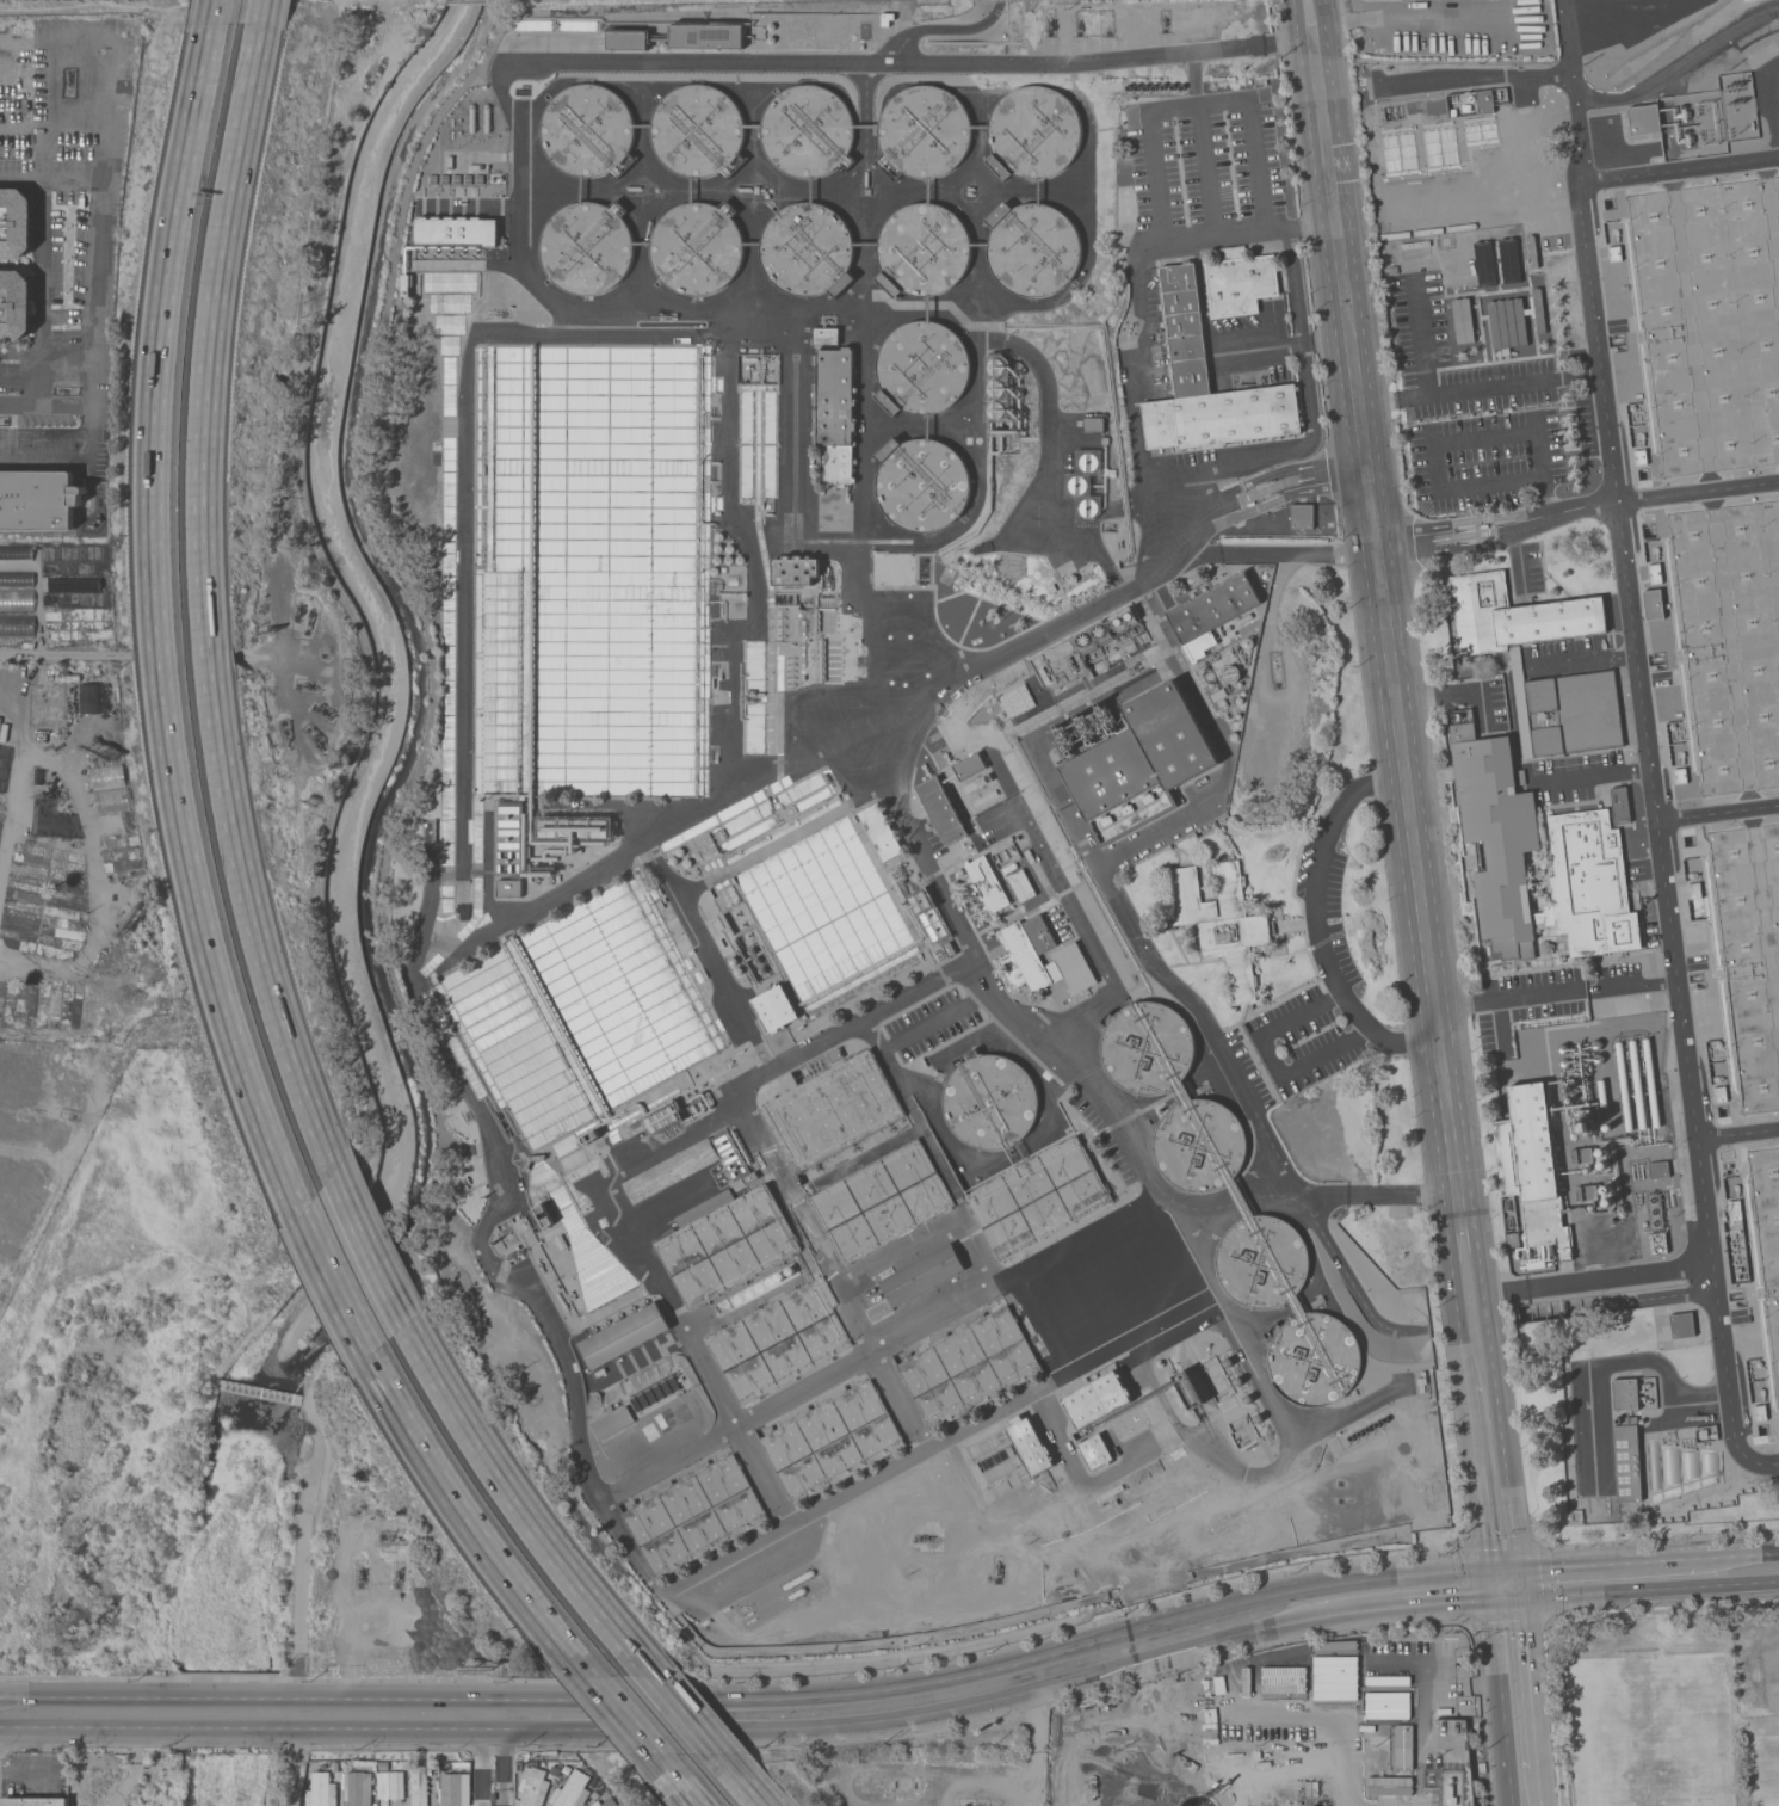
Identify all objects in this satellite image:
road: (215, 12)
road: (264, 12)
road: (941, 27)
road: (48, 36)
building: (706, 36)
railway: (1668, 36)
building: (626, 41)
railway: (1675, 45)
road: (1678, 66)
road: (1476, 70)
building: (1484, 101)
road: (509, 113)
building: (1644, 118)
building: (587, 130)
building: (697, 130)
building: (807, 130)
building: (924, 131)
building: (1032, 132)
road: (1679, 169)
road: (49, 181)
building: (14, 223)
road: (1311, 224)
building: (456, 230)
building: (586, 247)
building: (1032, 248)
building: (697, 249)
building: (807, 249)
building: (922, 251)
building: (1614, 253)
building: (1509, 260)
road: (1289, 263)
building: (1484, 263)
road: (41, 269)
building: (1238, 281)
building: (406, 283)
building: (14, 304)
road: (95, 316)
building: (1463, 319)
building: (1514, 320)
road: (1327, 340)
road: (20, 353)
building: (995, 366)
building: (921, 368)
building: (1207, 383)
building: (995, 387)
road: (1481, 387)
building: (995, 408)
building: (834, 414)
building: (1093, 424)
road: (91, 433)
road: (1457, 442)
building: (1639, 457)
building: (1088, 462)
building: (921, 483)
building: (1077, 483)
building: (37, 500)
building: (1088, 506)
building: (1302, 516)
building: (16, 551)
road: (1518, 555)
building: (793, 571)
building: (1654, 573)
building: (17, 578)
building: (16, 599)
building: (1653, 604)
road: (1385, 605)
petroleum well: (297, 608)
road: (1082, 609)
road: (206, 612)
building: (1211, 612)
petroleum well: (309, 615)
building: (1514, 615)
building: (1123, 618)
building: (17, 624)
road: (161, 629)
building: (1092, 635)
road: (1586, 660)
petroleum well: (1277, 674)
petroleum well: (307, 686)
road: (1451, 694)
building: (89, 697)
building: (1017, 699)
petroleum well: (321, 710)
building: (1565, 711)
building: (0, 721)
petroleum well: (285, 729)
building: (1082, 732)
road: (1645, 734)
petroleum well: (314, 739)
building: (1136, 762)
building: (969, 766)
road: (1598, 775)
building: (106, 776)
wastewater plant: (1093, 776)
building: (1680, 776)
building: (42, 777)
building: (977, 782)
building: (111, 800)
building: (1620, 805)
road: (1717, 809)
building: (941, 810)
building: (572, 830)
building: (879, 832)
building: (508, 838)
building: (1585, 842)
building: (1006, 856)
building: (983, 884)
building: (1021, 886)
building: (508, 888)
building: (1694, 890)
building: (928, 916)
building: (1219, 922)
road: (1314, 922)
road: (694, 935)
road: (1141, 941)
building: (1026, 953)
building: (1074, 967)
road: (1642, 985)
road: (1508, 1000)
building: (774, 1009)
building: (1145, 1047)
building: (573, 1080)
building: (1651, 1083)
building: (1624, 1084)
building: (1637, 1085)
building: (1719, 1093)
building: (988, 1102)
building: (832, 1110)
building: (662, 1118)
road: (1117, 1118)
building: (1585, 1123)
road: (1737, 1133)
building: (1198, 1147)
building: (1582, 1155)
building: (691, 1165)
building: (1532, 1166)
building: (1658, 1169)
road: (624, 1172)
building: (1587, 1192)
building: (1038, 1196)
building: (879, 1201)
building: (1655, 1210)
building: (1734, 1210)
building: (543, 1215)
building: (1512, 1238)
building: (725, 1241)
building: (1658, 1243)
road: (484, 1251)
road: (373, 1260)
building: (1264, 1262)
building: (598, 1271)
road: (835, 1272)
road: (1598, 1277)
building: (918, 1278)
building: (1120, 1284)
road: (333, 1292)
road: (1454, 1295)
building: (1681, 1324)
road: (1046, 1325)
building: (623, 1335)
building: (779, 1339)
road: (878, 1350)
road: (1618, 1361)
building: (1318, 1362)
building: (970, 1367)
road: (1496, 1387)
building: (1187, 1388)
building: (1625, 1394)
building: (1097, 1399)
building: (612, 1422)
building: (832, 1442)
road: (946, 1443)
building: (1029, 1444)
building: (1094, 1451)
building: (1626, 1460)
road: (1766, 1463)
road: (1478, 1475)
road: (520, 1511)
building: (694, 1516)
road: (472, 1525)
petroleum well: (924, 1537)
road: (1738, 1554)
road: (1607, 1561)
petroleum well: (996, 1566)
traffic signals: (1518, 1567)
road: (1503, 1568)
traffic signals: (1489, 1570)
petroleum well: (360, 1574)
petroleum well: (396, 1576)
building: (798, 1579)
road: (1519, 1582)
road: (1698, 1585)
river: (206, 1586)
road: (1555, 1595)
traffic signals: (1521, 1597)
traffic signals: (1493, 1599)
road: (1409, 1604)
building: (1404, 1658)
park: (1768, 1676)
road: (1530, 1683)
road: (1443, 1685)
road: (1501, 1687)
road: (894, 1688)
road: (89, 1699)
road: (233, 1699)
building: (1341, 1700)
park: (1675, 1708)
road: (686, 1718)
road: (624, 1719)
road: (813, 1727)
road: (89, 1728)
road: (233, 1728)
park: (1651, 1731)
park: (1762, 1763)
building: (333, 1764)
building: (321, 1765)
building: (383, 1765)
building: (518, 1765)
road: (297, 1767)
road: (494, 1767)
building: (1481, 1767)
building: (555, 1770)
road: (45, 1775)
road: (675, 1782)
road: (739, 1782)
road: (1019, 1782)
building: (390, 1785)
building: (420, 1785)
building: (532, 1785)
building: (455, 1787)
building: (357, 1788)
road: (1539, 1788)
building: (322, 1790)
building: (572, 1790)
building: (35, 1801)
building: (600, 1802)
building: (966, 1805)

